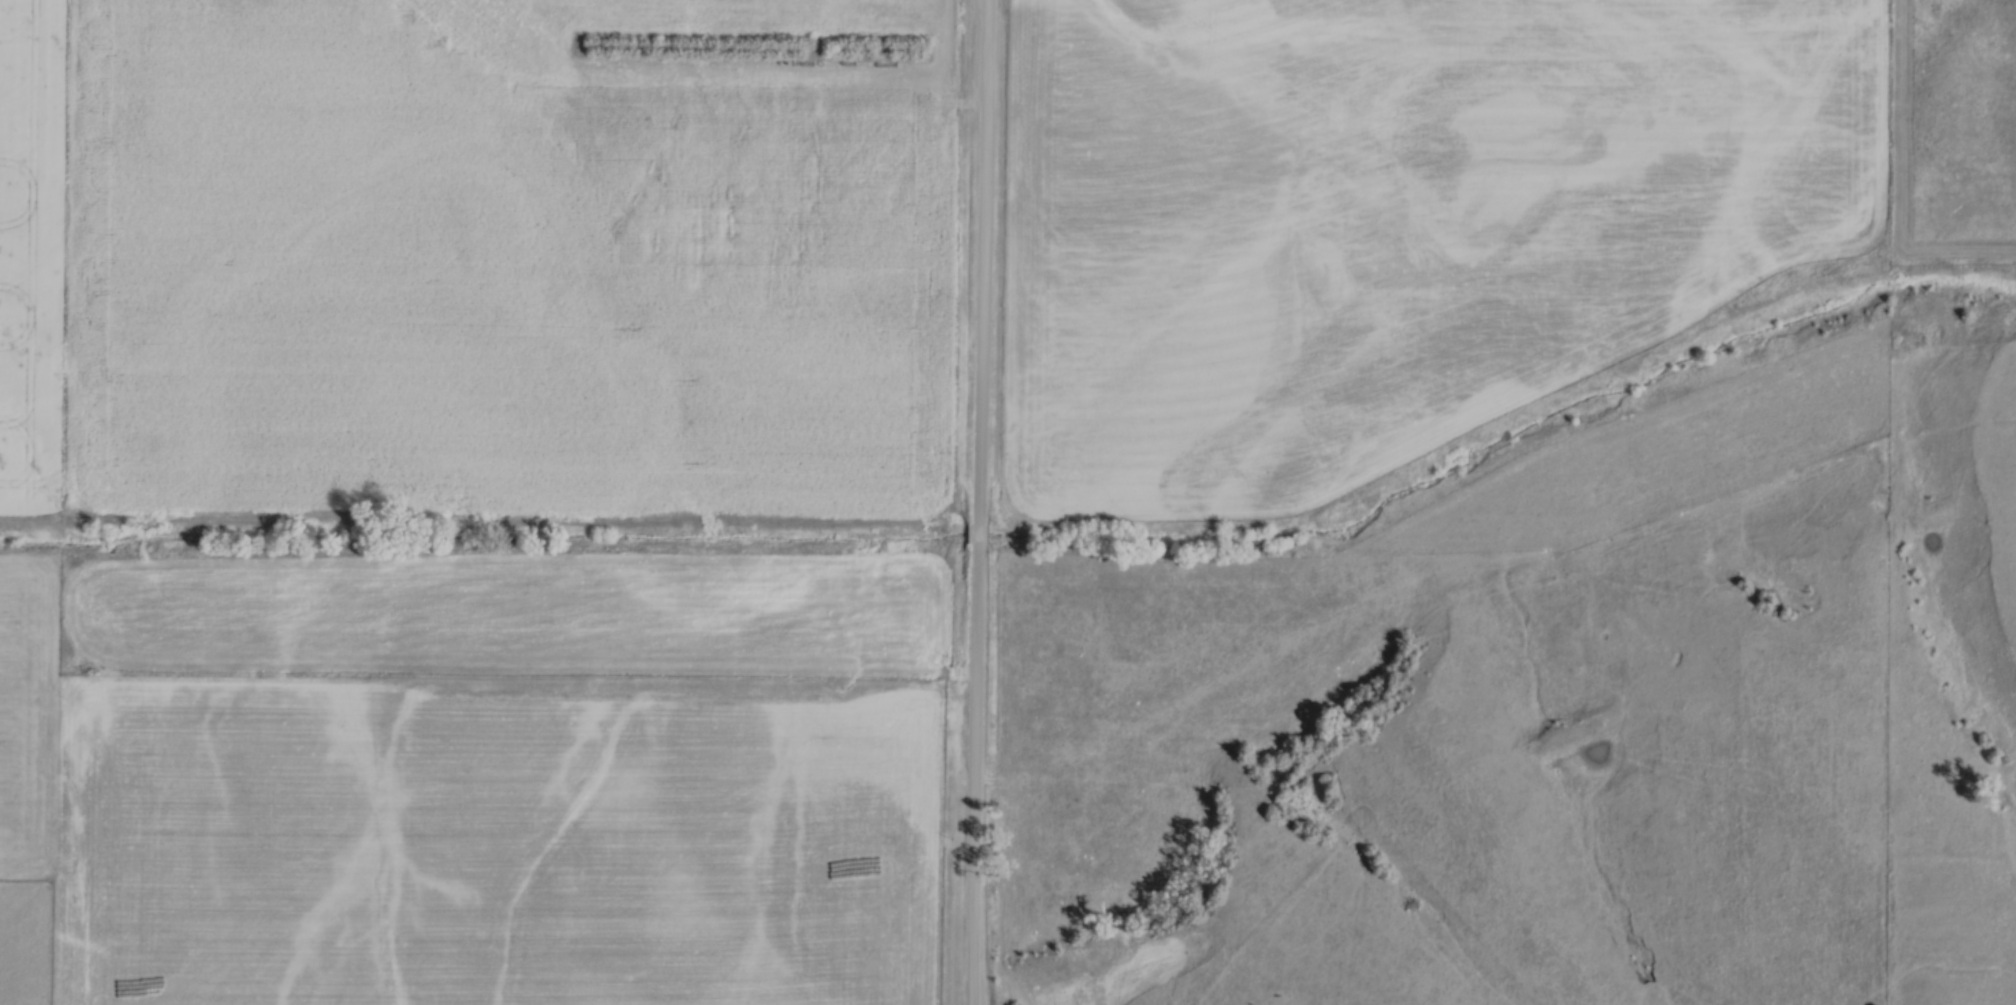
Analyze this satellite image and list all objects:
road: (978, 502)

